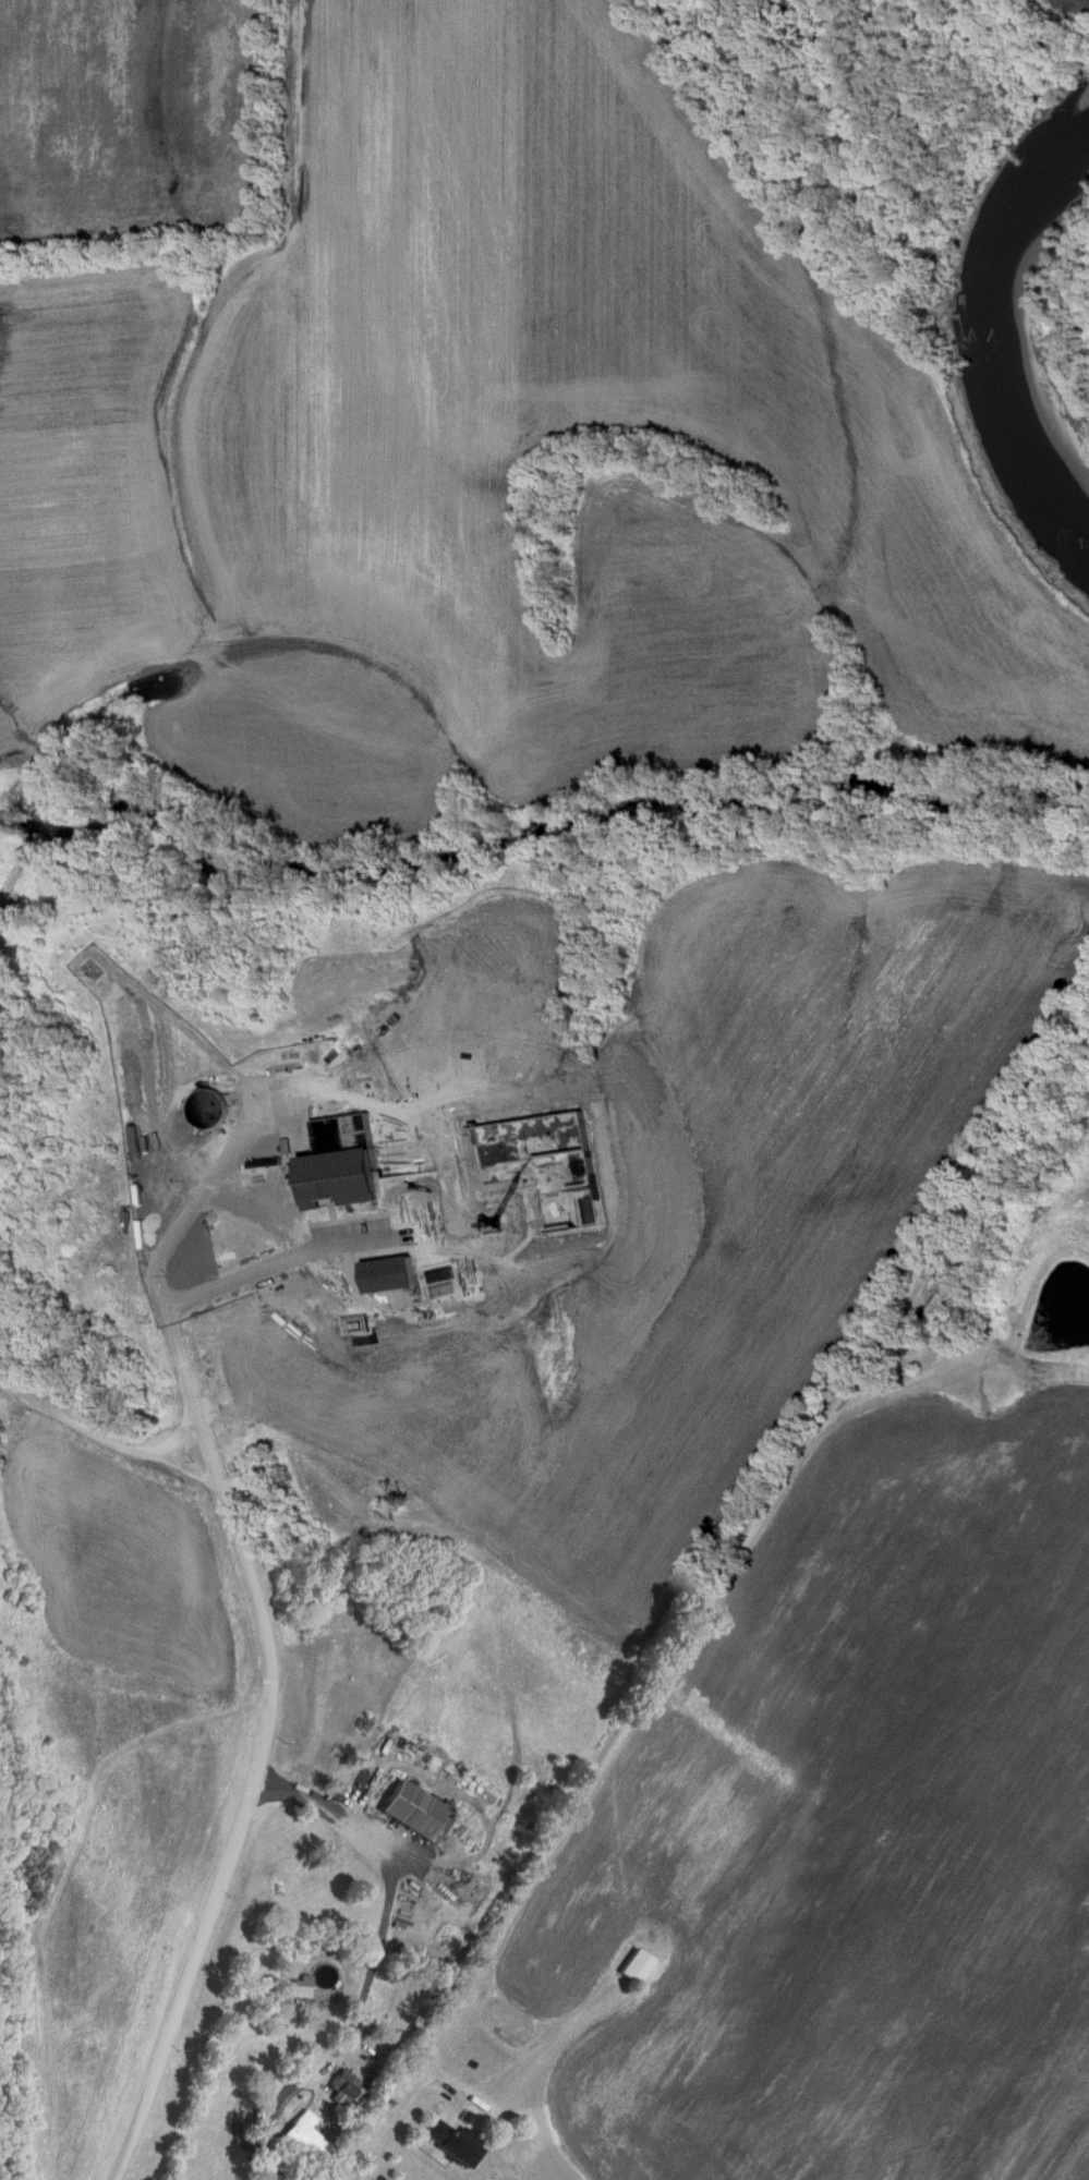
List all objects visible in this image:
river: (1012, 298)
road: (228, 1078)
building: (343, 1180)
road: (275, 1261)
building: (391, 1275)
road: (176, 1433)
road: (109, 1436)
road: (268, 1719)
building: (418, 1813)
road: (373, 1962)
building: (638, 1967)
building: (304, 1987)
road: (408, 2117)
building: (306, 2141)
building: (455, 2144)

